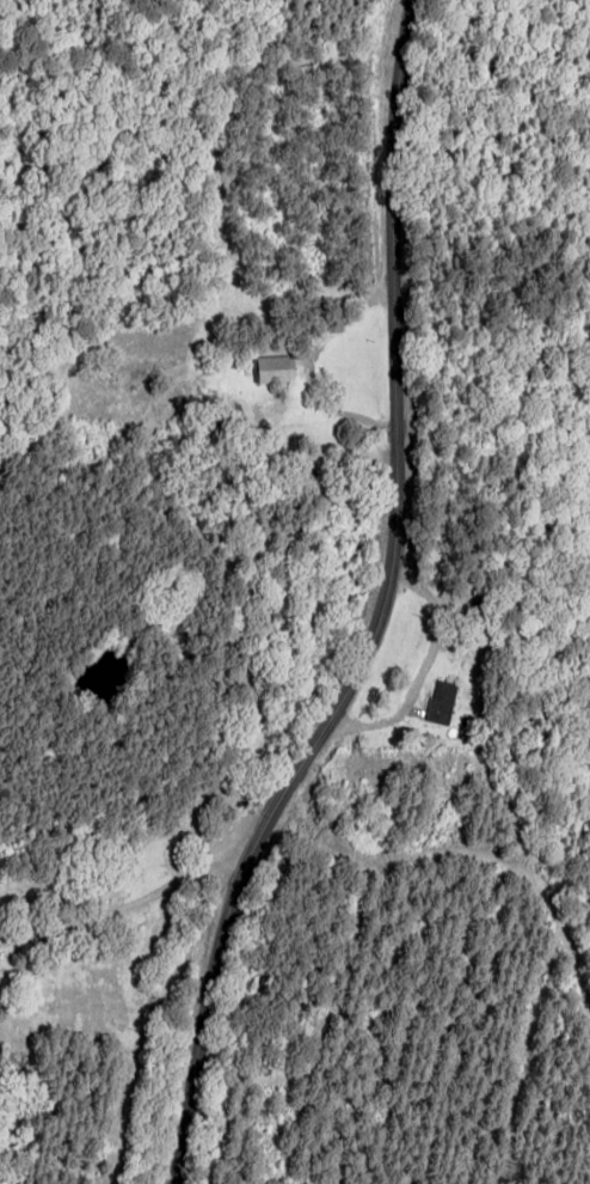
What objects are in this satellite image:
building: (272, 368)
road: (432, 605)
building: (441, 701)
road: (171, 923)

